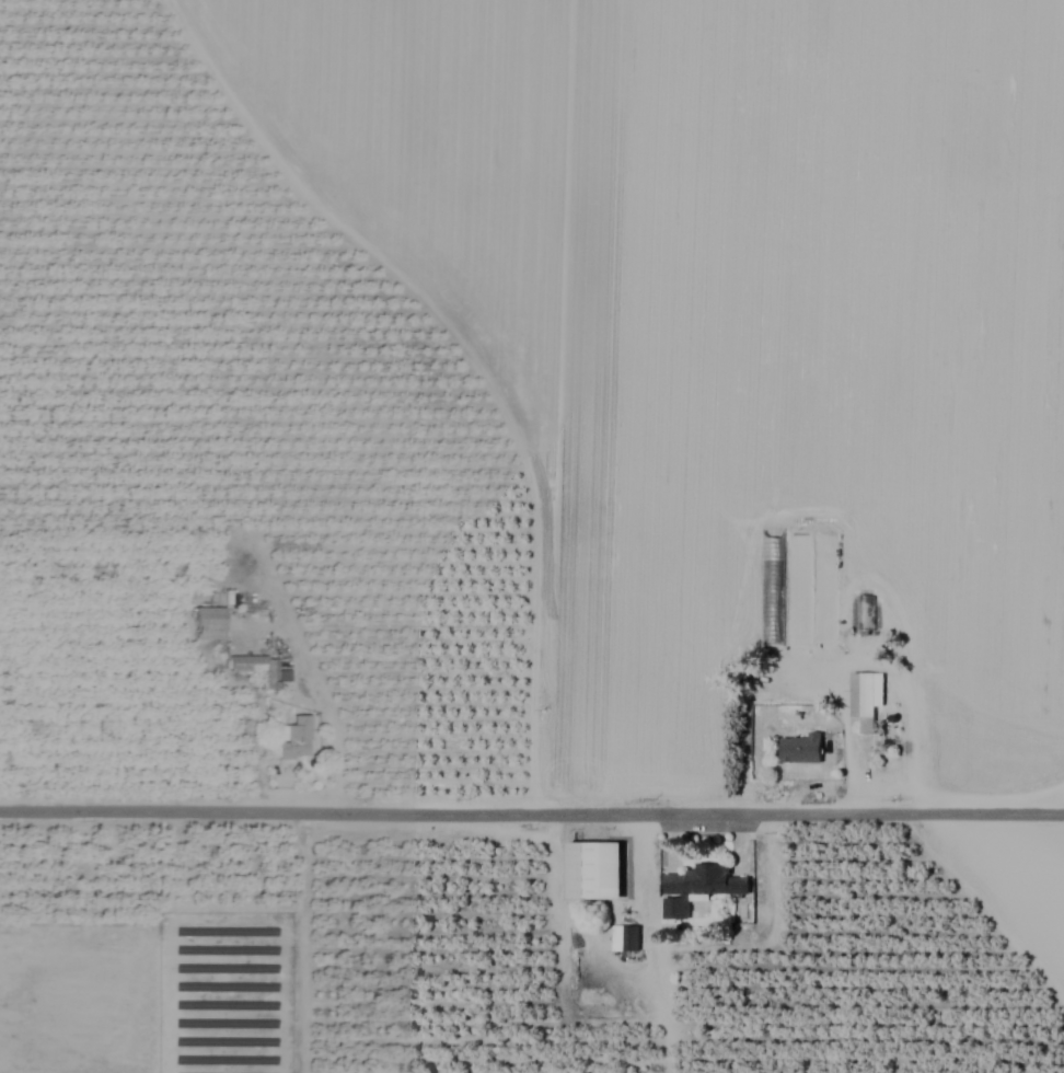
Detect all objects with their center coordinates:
crop: (532, 536)
building: (771, 590)
building: (864, 613)
building: (208, 623)
building: (257, 667)
building: (865, 694)
road: (325, 703)
building: (294, 739)
building: (800, 750)
road: (532, 812)
building: (593, 872)
building: (696, 888)
building: (623, 938)

